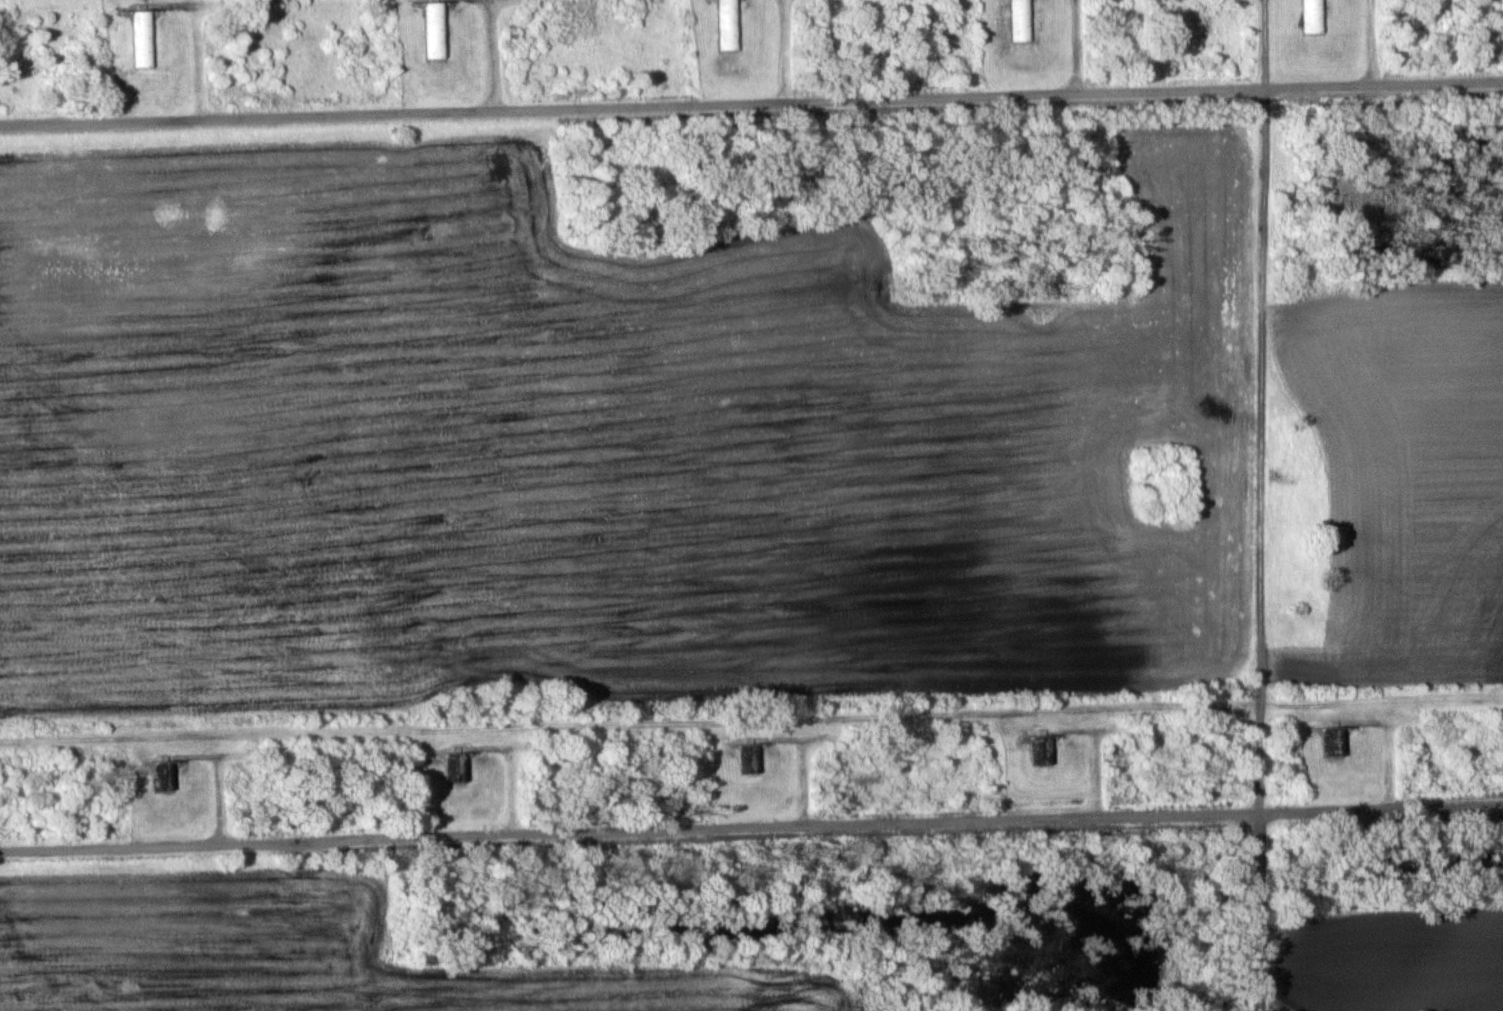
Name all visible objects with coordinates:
building: (434, 30)
road: (751, 102)
road: (1261, 505)
building: (163, 775)
road: (751, 827)

